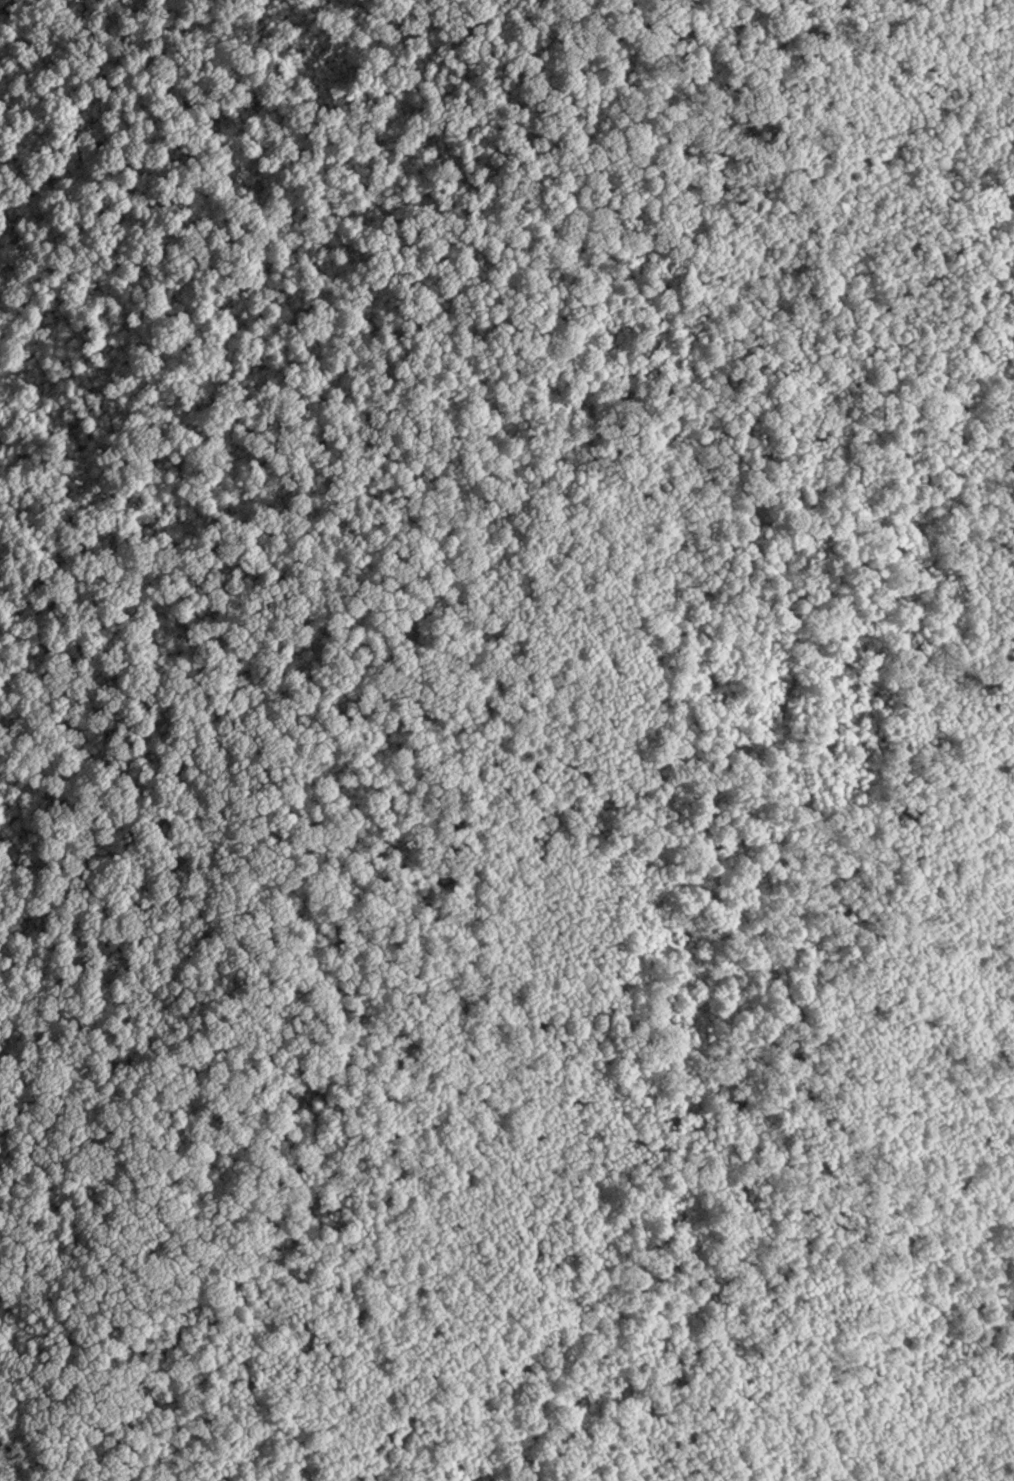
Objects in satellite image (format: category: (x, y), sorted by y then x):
road: (779, 729)

